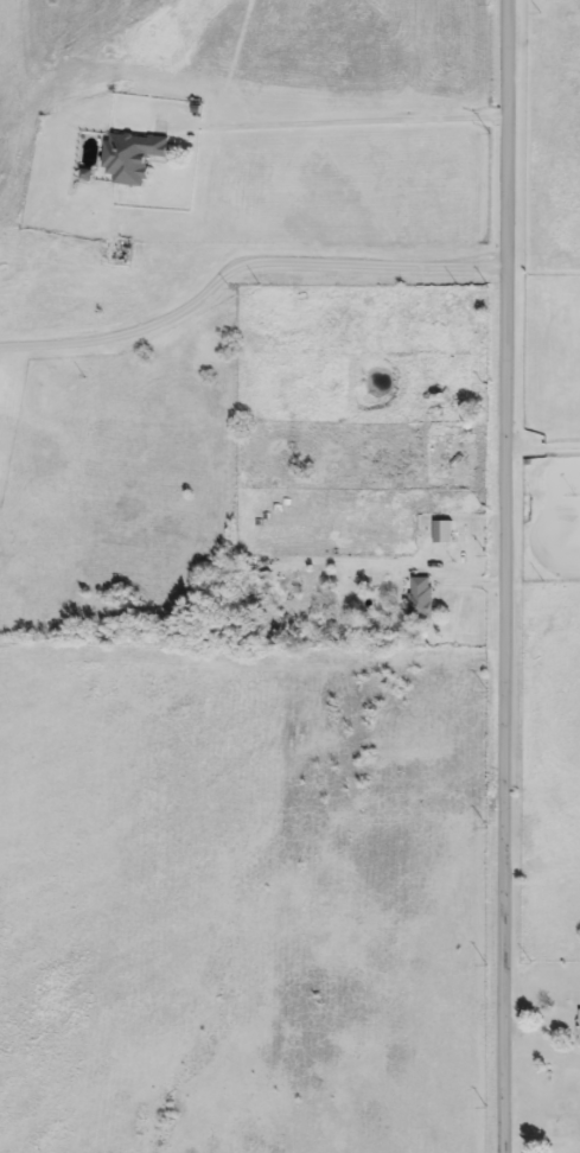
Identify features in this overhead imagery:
road: (358, 128)
building: (135, 158)
road: (542, 450)
building: (446, 531)
road: (503, 575)
building: (423, 599)

